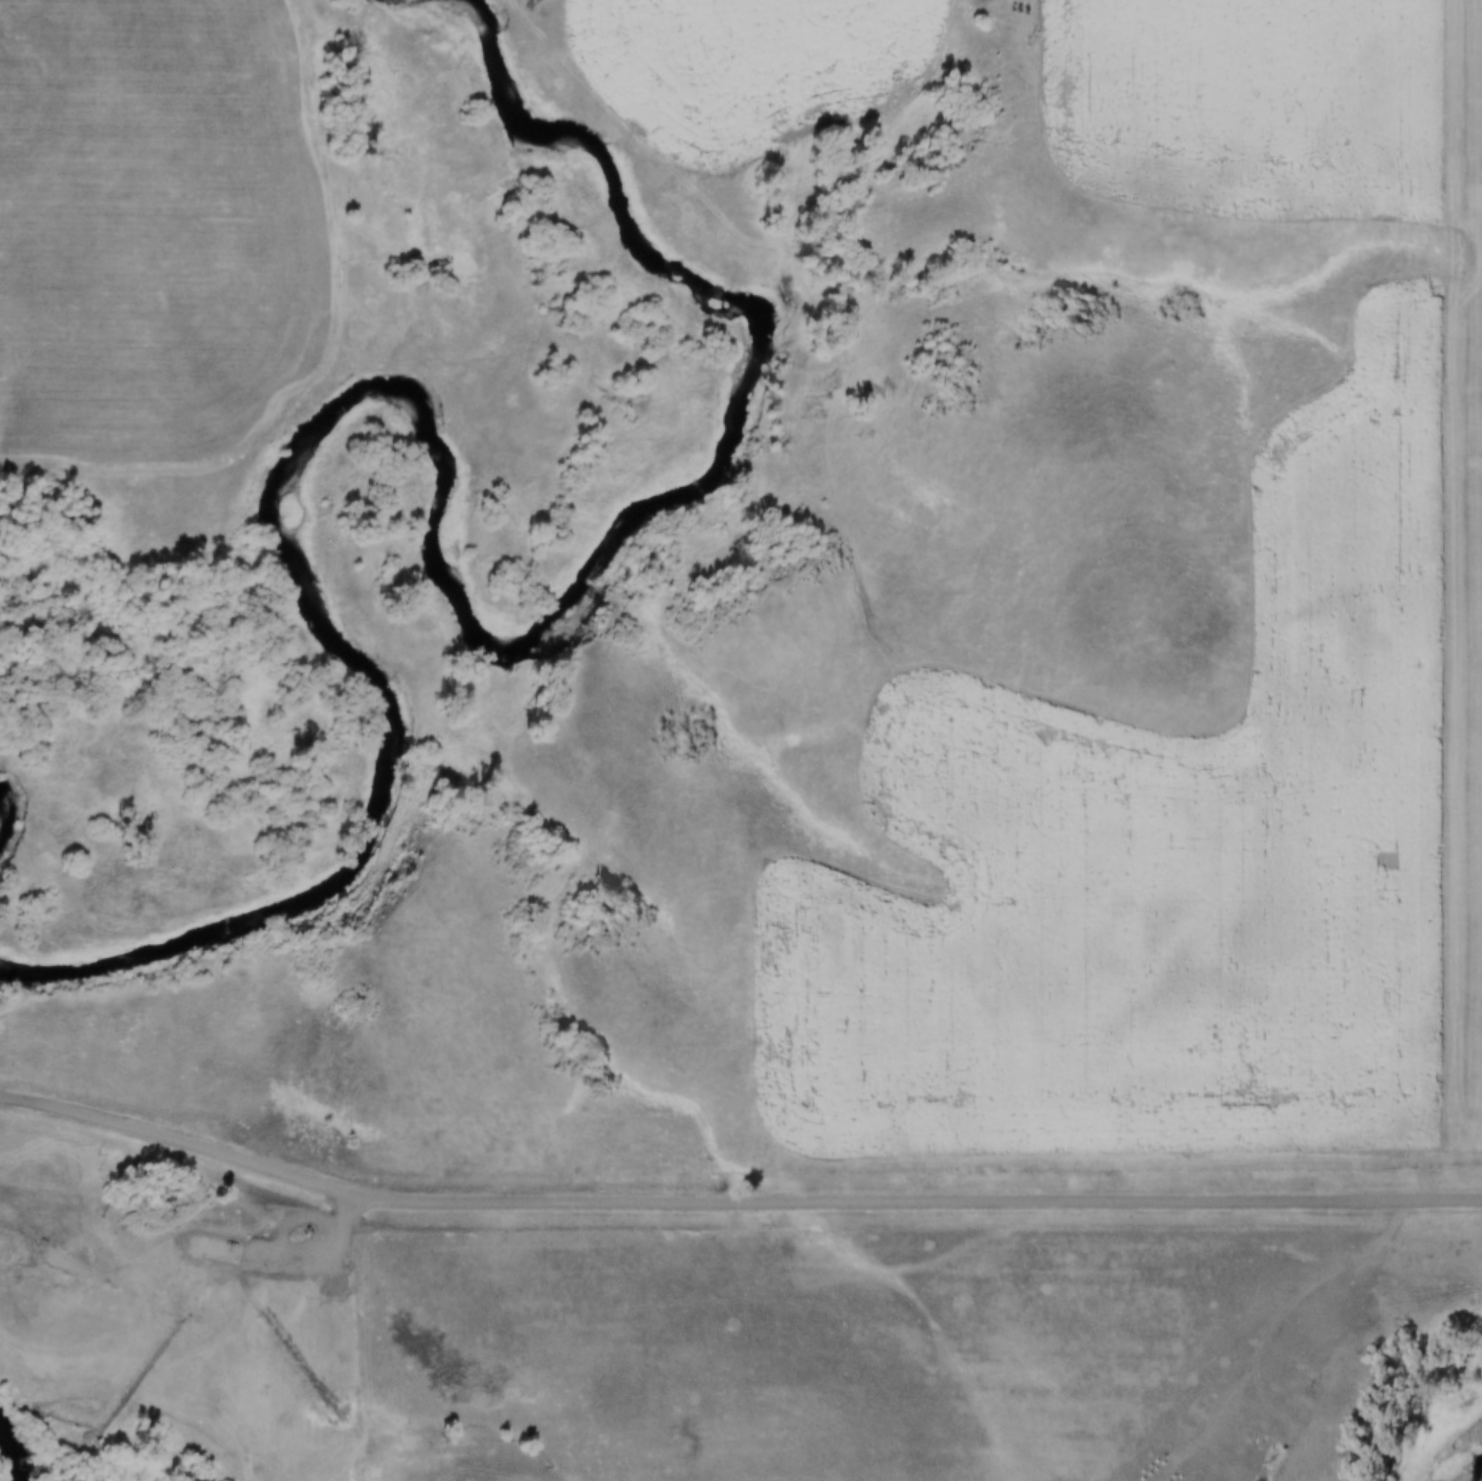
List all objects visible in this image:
road: (733, 1206)

